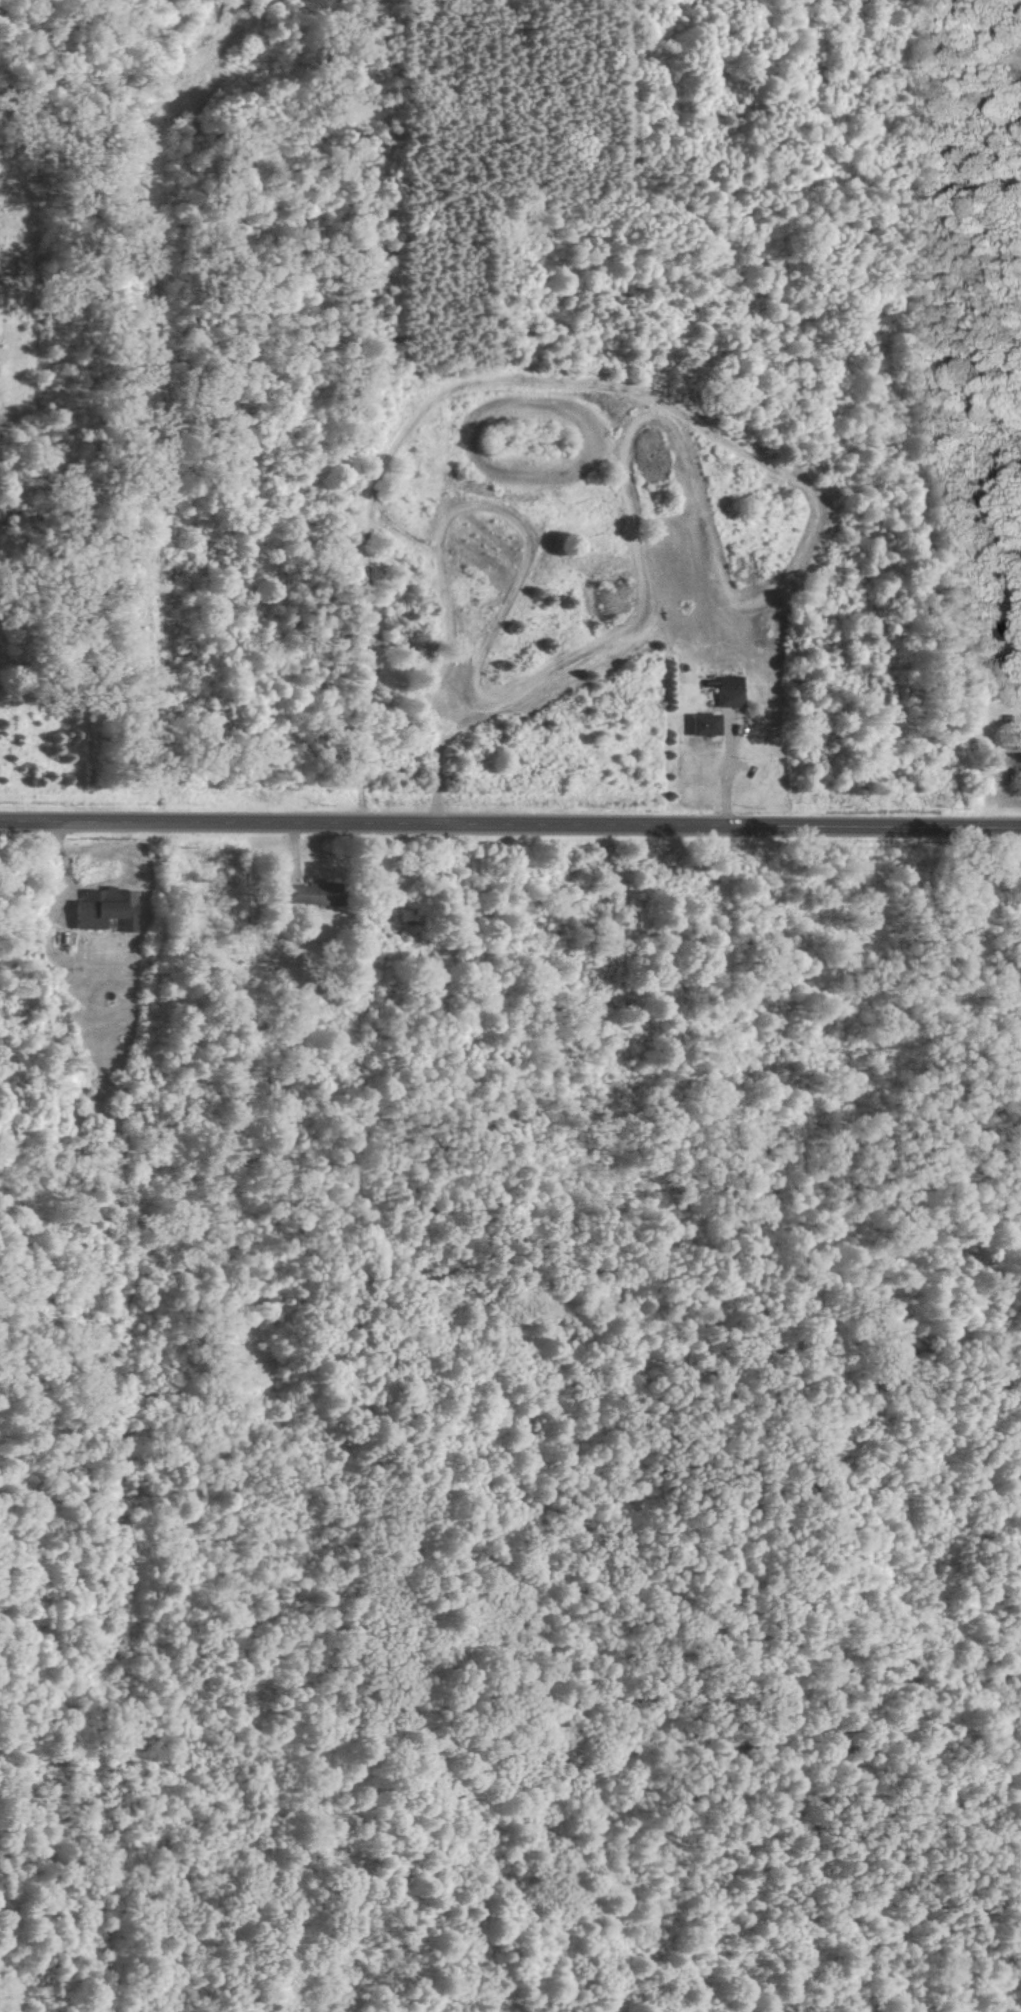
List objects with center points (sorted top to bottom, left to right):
building: (729, 692)
building: (704, 725)
building: (1015, 763)
road: (510, 824)
building: (311, 895)
building: (104, 910)

